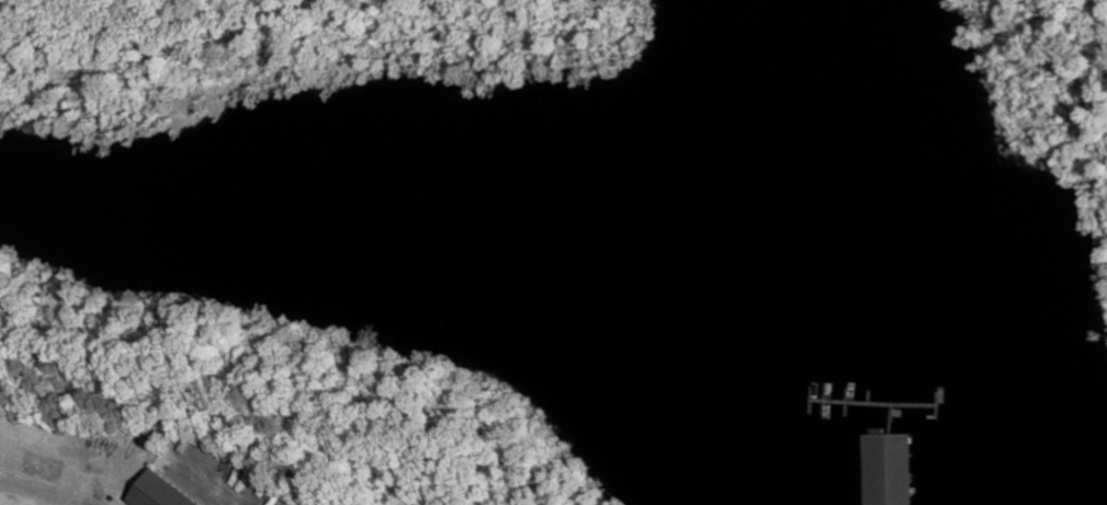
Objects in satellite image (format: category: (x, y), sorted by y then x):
park: (275, 61)
park: (249, 405)
building: (154, 492)

